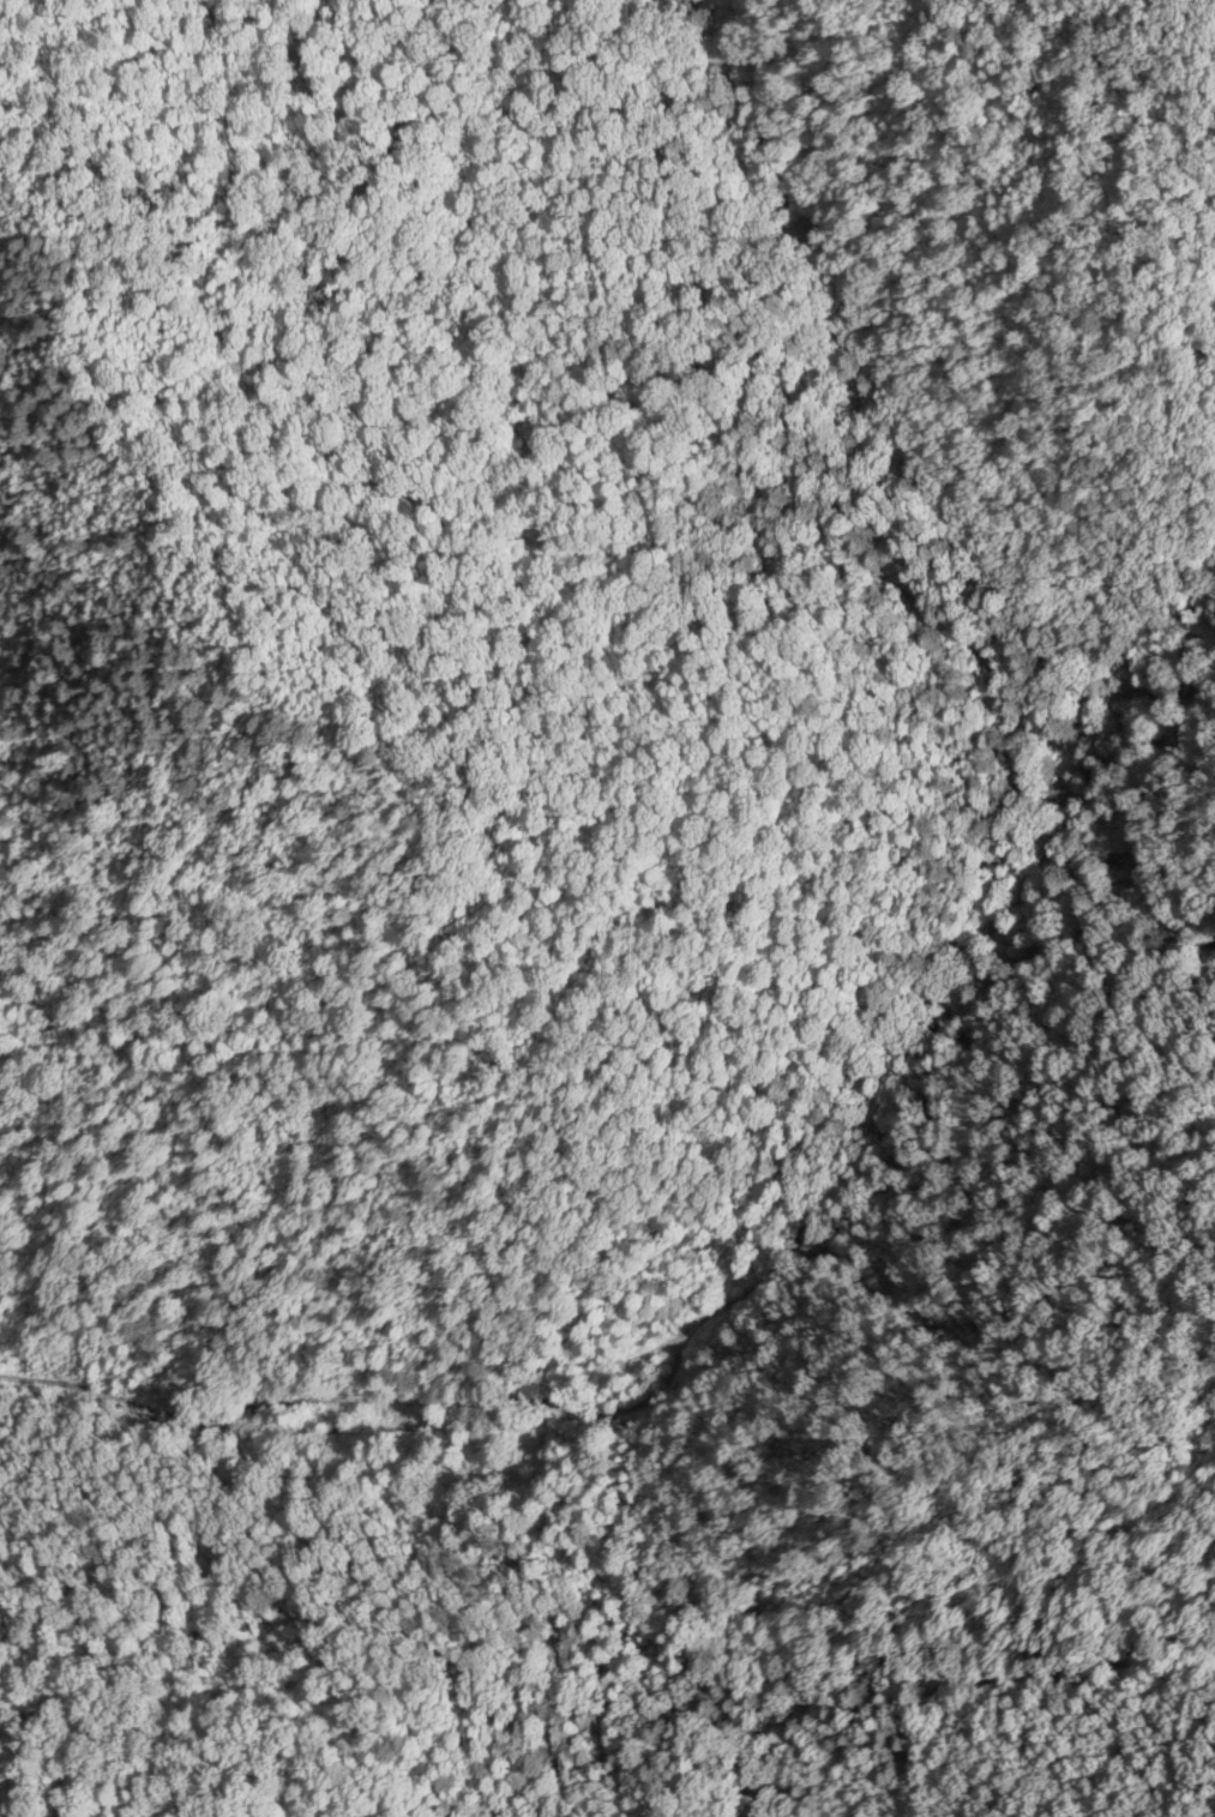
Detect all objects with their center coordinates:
road: (330, 1407)

